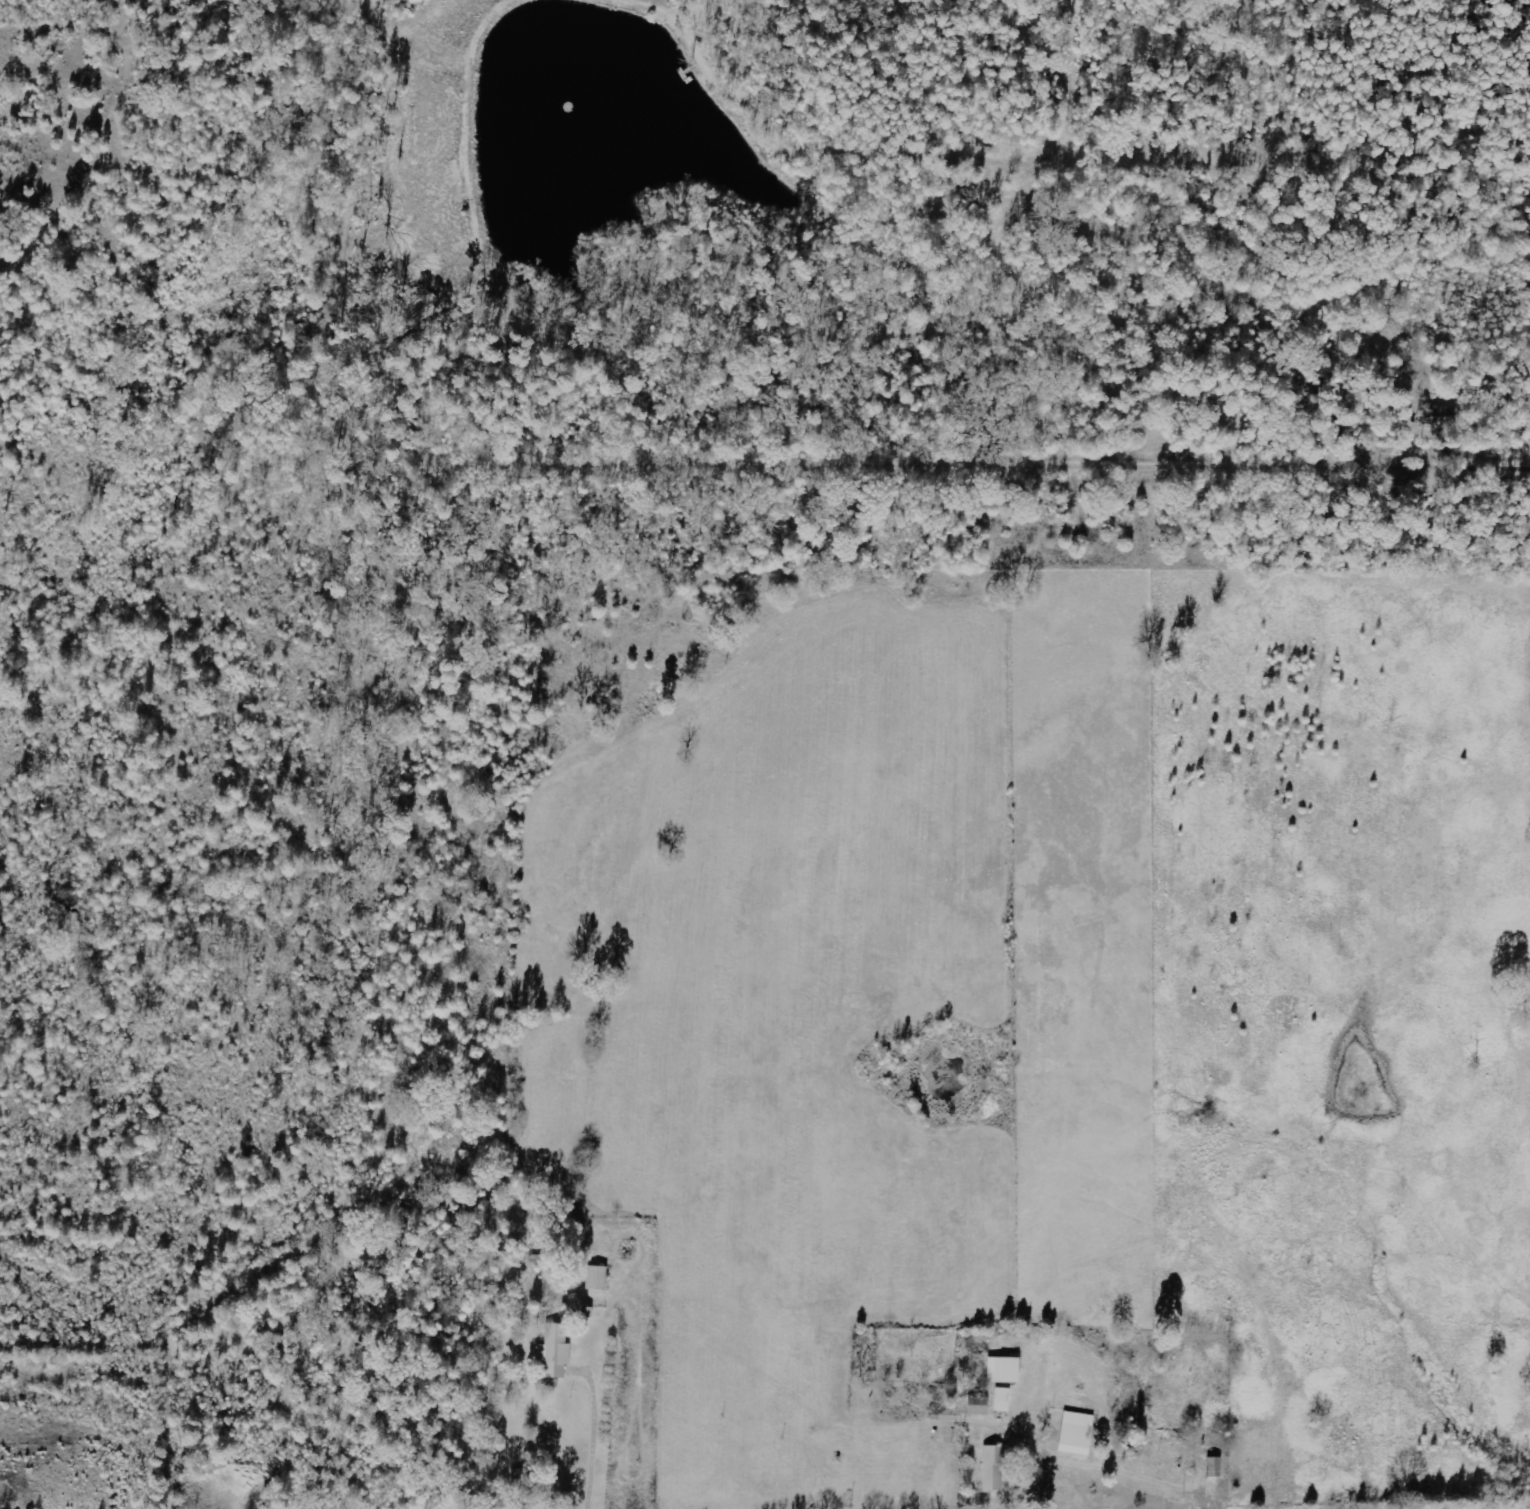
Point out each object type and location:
road: (210, 138)
road: (1273, 229)
building: (1446, 419)
road: (995, 456)
building: (598, 1278)
building: (556, 1352)
road: (861, 1360)
building: (1006, 1371)
building: (1004, 1400)
building: (980, 1406)
building: (1078, 1434)
building: (1215, 1467)
building: (995, 1468)

